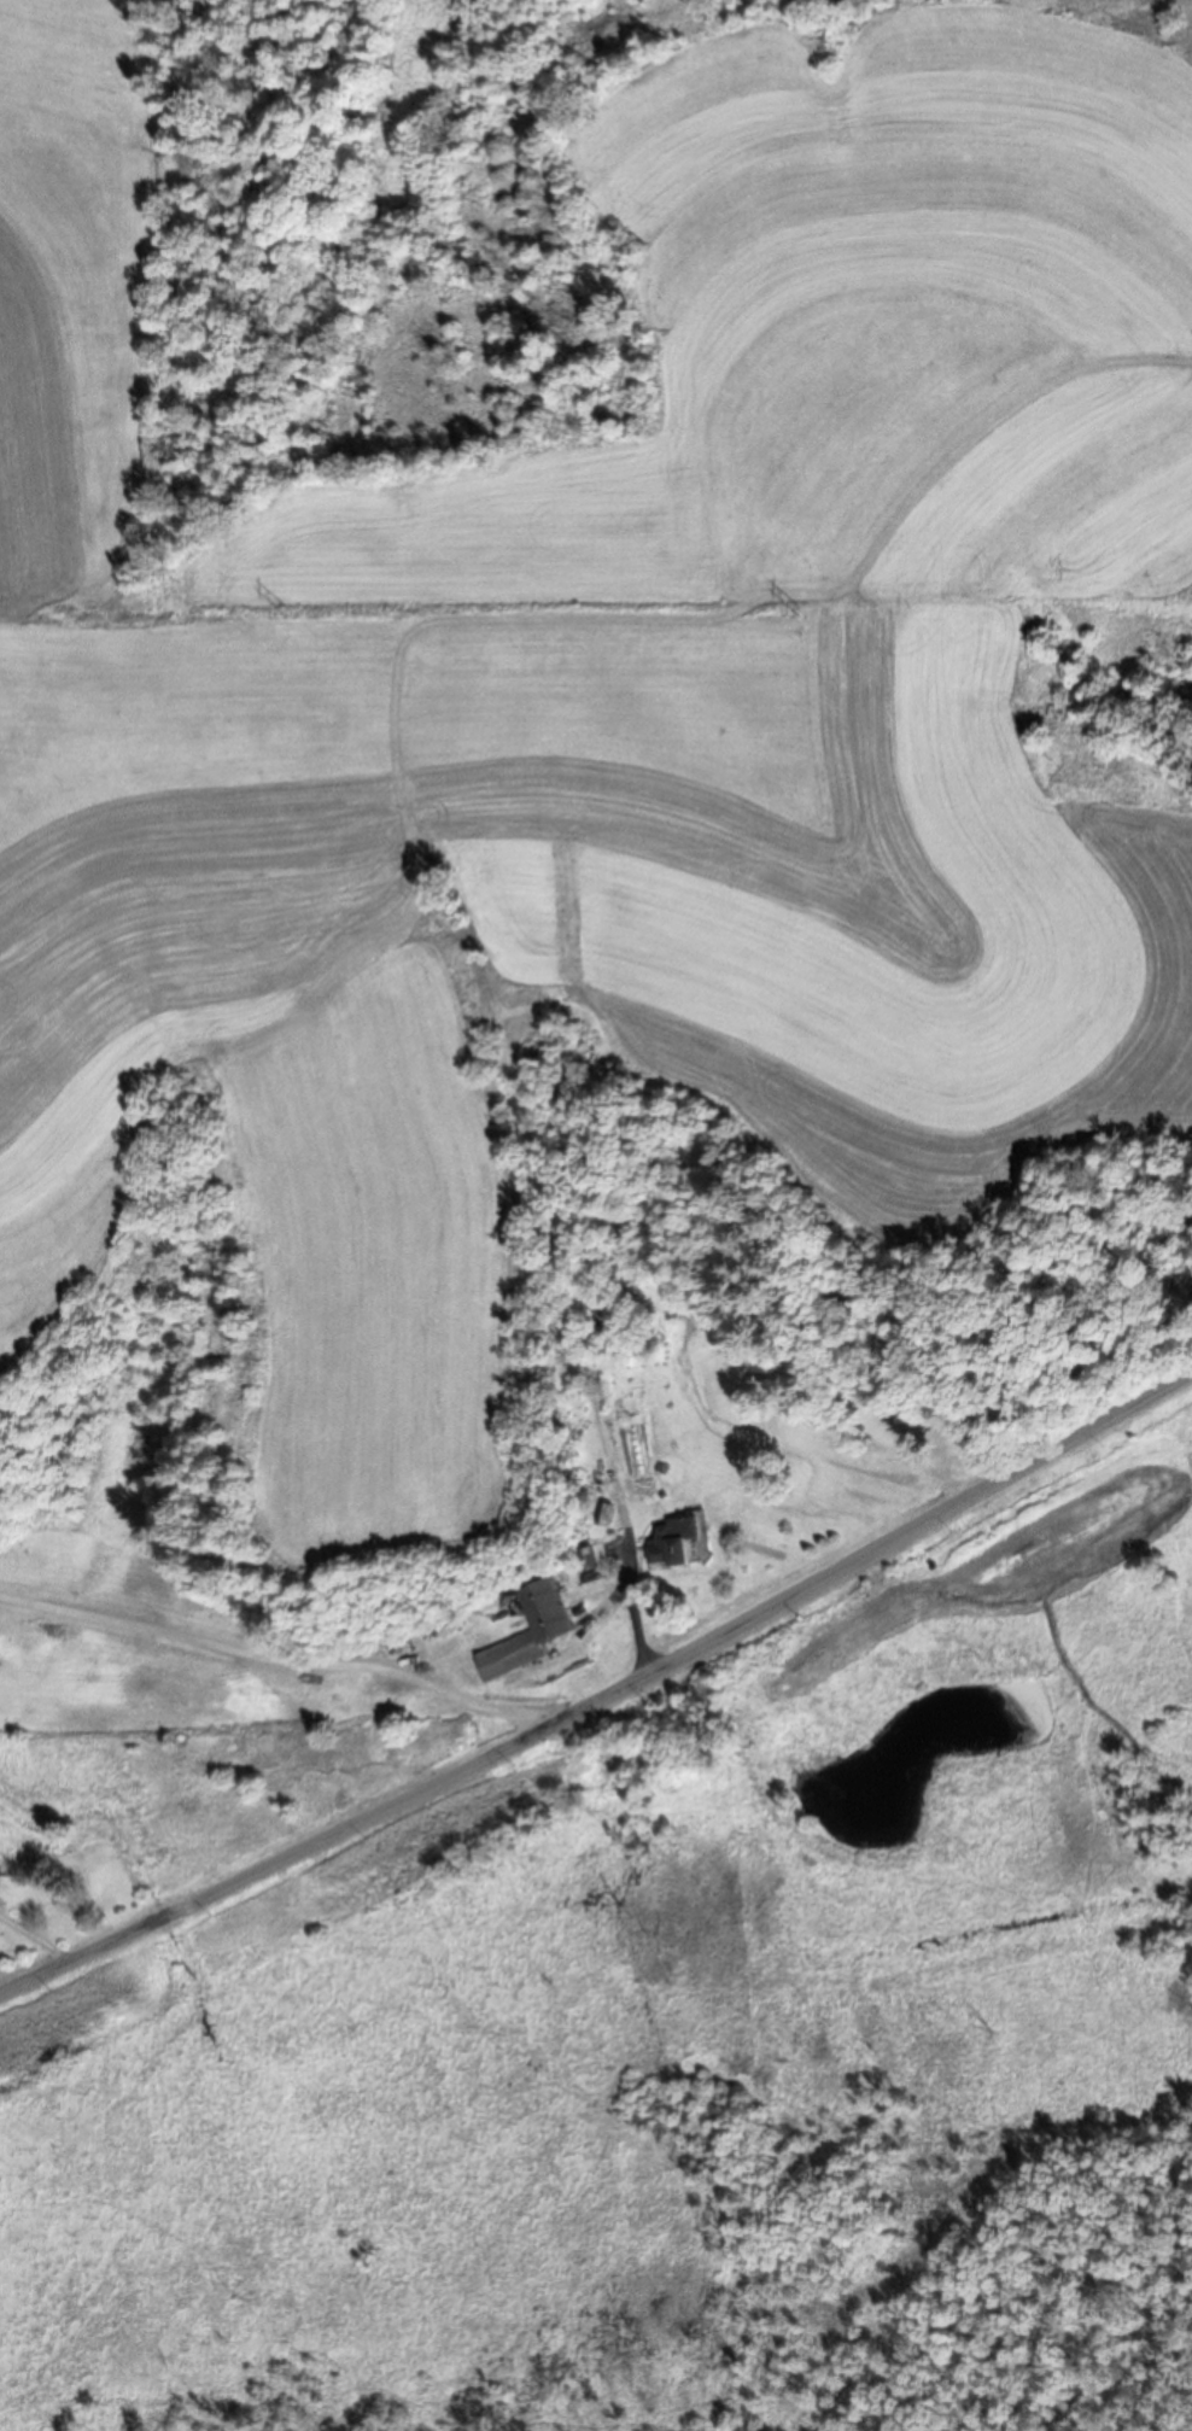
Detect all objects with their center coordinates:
building: (674, 1542)
building: (594, 1558)
building: (528, 1634)
road: (603, 1699)

